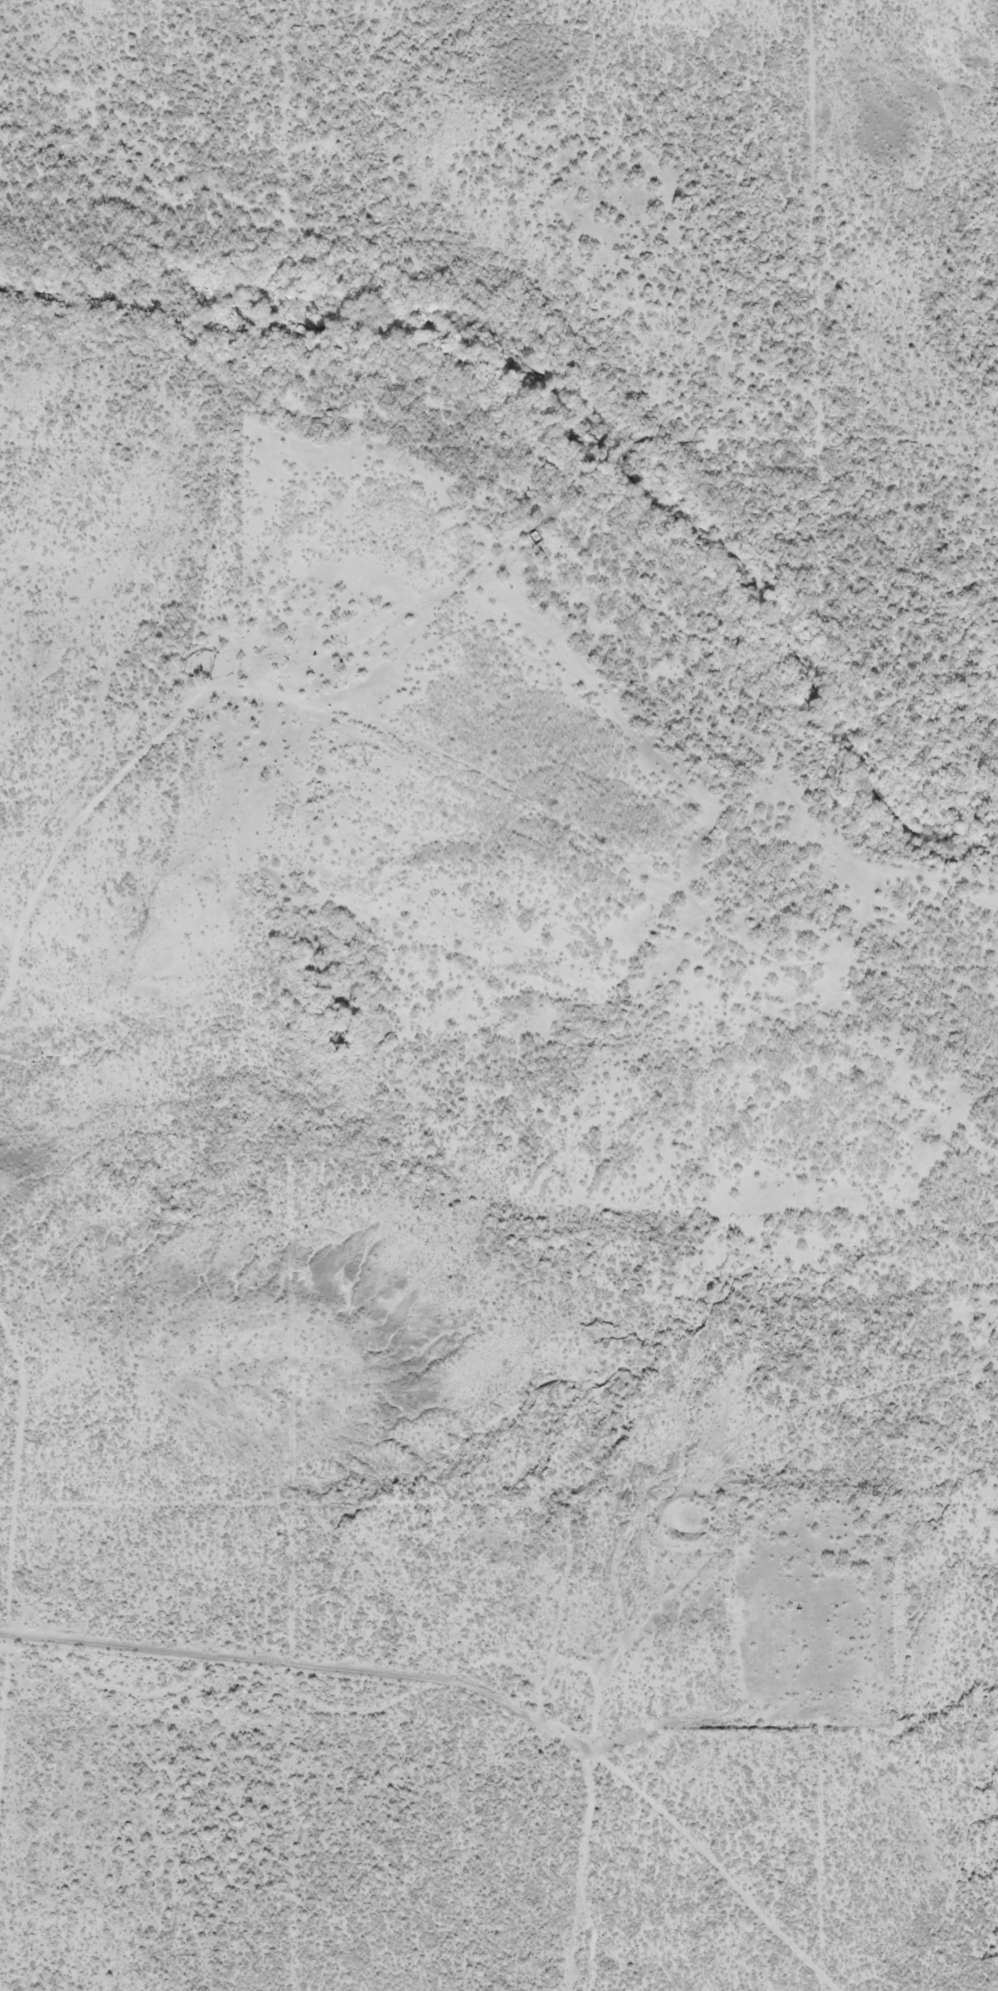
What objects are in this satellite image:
road: (468, 1693)

